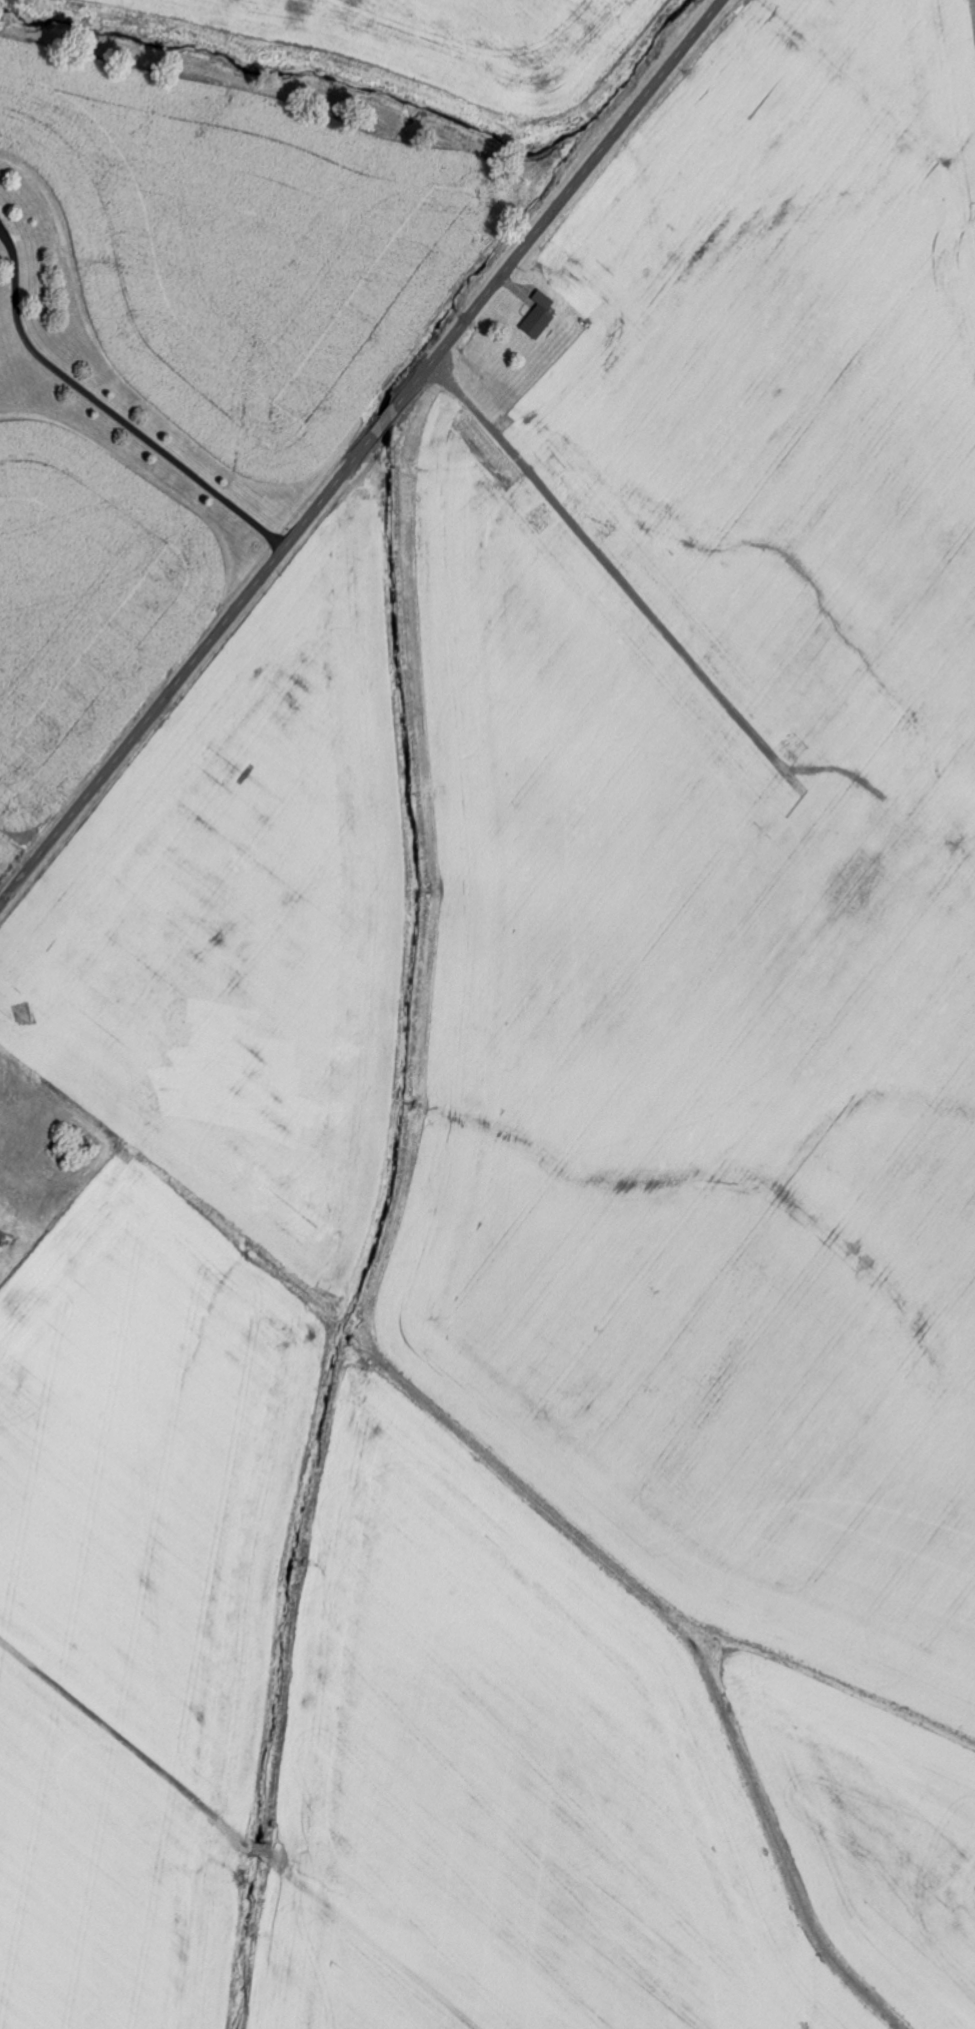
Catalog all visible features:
building: (543, 320)
road: (108, 409)
road: (361, 452)

